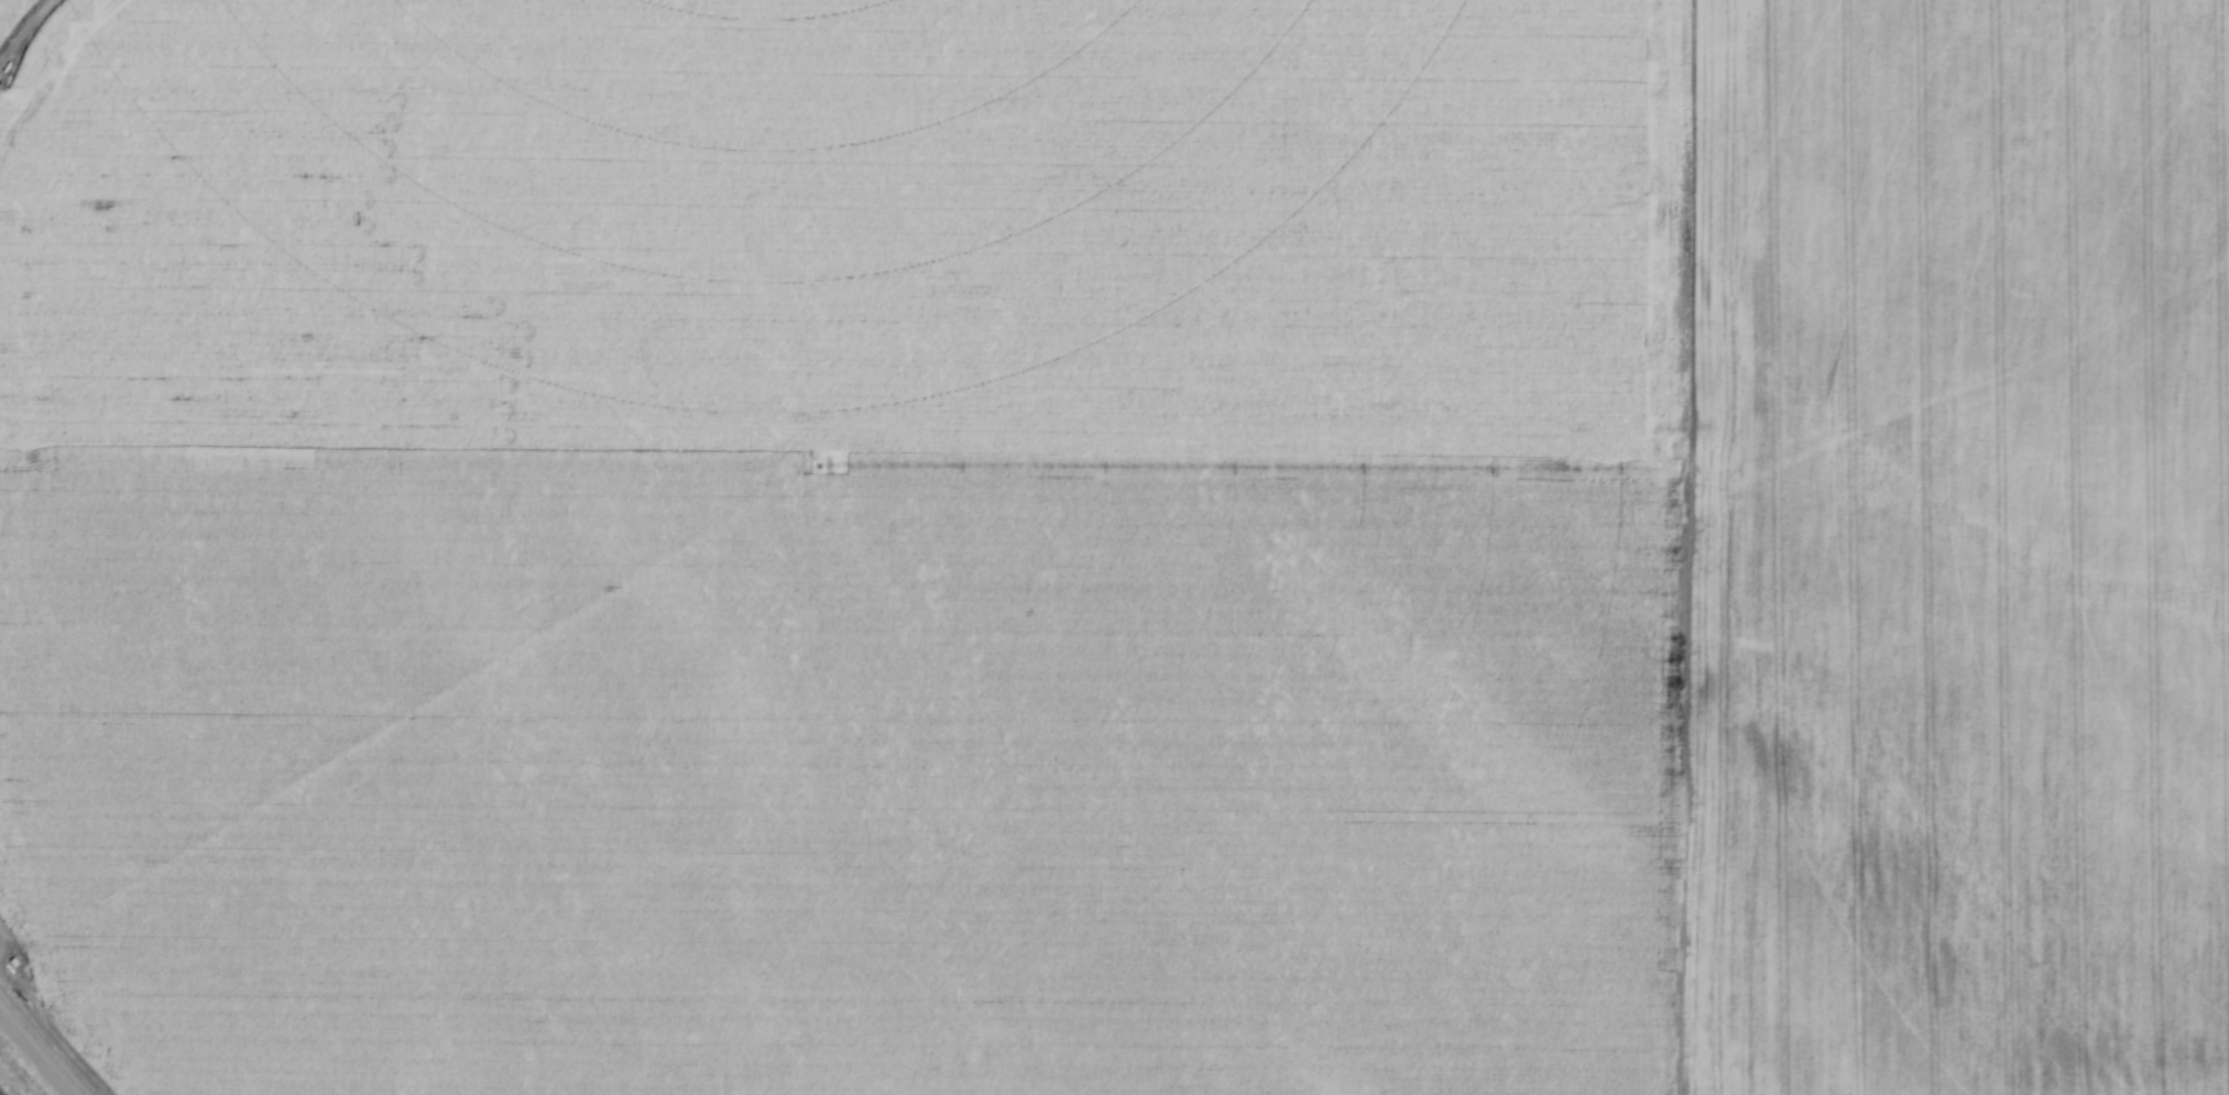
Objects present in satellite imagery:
road: (23, 29)
road: (39, 1049)

